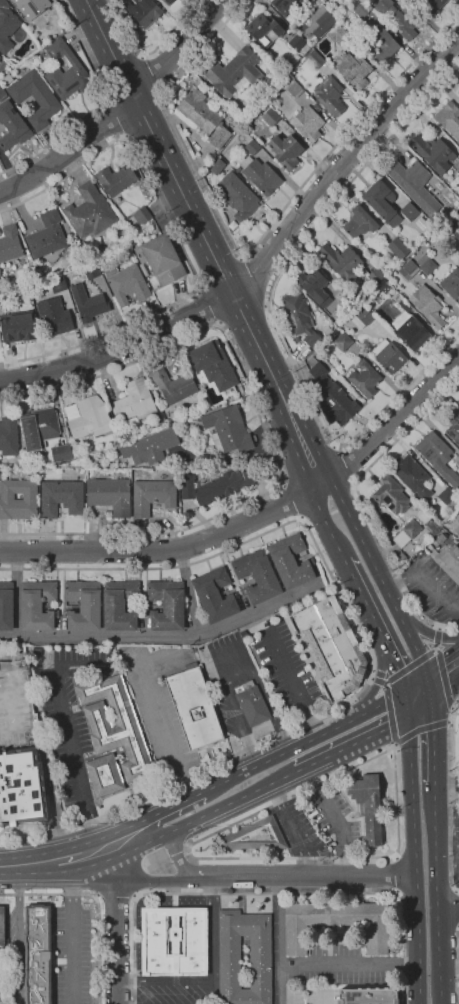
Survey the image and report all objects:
building: (169, 1)
building: (282, 5)
building: (432, 5)
building: (32, 7)
building: (362, 9)
building: (143, 11)
building: (401, 19)
building: (324, 22)
building: (7, 26)
building: (264, 30)
building: (341, 36)
building: (296, 42)
building: (383, 44)
road: (149, 52)
building: (0, 57)
building: (314, 59)
building: (354, 68)
building: (66, 71)
building: (235, 72)
road: (152, 76)
building: (295, 89)
building: (458, 92)
building: (2, 93)
building: (330, 95)
building: (35, 98)
road: (98, 106)
road: (124, 108)
building: (233, 115)
building: (271, 116)
building: (204, 117)
building: (449, 118)
road: (109, 122)
building: (308, 124)
building: (12, 126)
building: (458, 142)
building: (252, 146)
building: (285, 150)
building: (433, 153)
building: (217, 167)
building: (237, 170)
building: (261, 175)
building: (115, 179)
building: (414, 184)
building: (238, 195)
building: (382, 202)
building: (458, 209)
building: (89, 211)
building: (409, 211)
building: (142, 215)
building: (455, 217)
building: (360, 222)
building: (422, 222)
building: (457, 226)
building: (48, 239)
road: (179, 242)
road: (205, 242)
building: (10, 243)
building: (398, 248)
road: (248, 252)
building: (98, 253)
building: (160, 259)
building: (342, 261)
building: (426, 264)
road: (265, 267)
building: (409, 268)
building: (0, 271)
building: (91, 271)
building: (375, 275)
building: (1, 283)
building: (127, 283)
building: (58, 284)
building: (452, 284)
building: (314, 286)
building: (342, 288)
building: (401, 302)
building: (88, 303)
building: (427, 304)
road: (207, 305)
road: (270, 311)
building: (54, 316)
building: (300, 317)
building: (362, 317)
building: (18, 326)
building: (412, 333)
building: (343, 341)
building: (388, 356)
building: (213, 364)
building: (365, 378)
building: (174, 385)
building: (332, 394)
building: (133, 401)
building: (90, 417)
building: (160, 421)
building: (191, 421)
road: (391, 422)
building: (454, 426)
building: (38, 427)
building: (228, 429)
road: (263, 429)
building: (8, 435)
building: (149, 446)
building: (61, 453)
building: (438, 456)
road: (238, 461)
road: (344, 463)
building: (458, 469)
building: (15, 470)
building: (414, 478)
building: (215, 486)
building: (110, 494)
building: (153, 495)
building: (391, 495)
building: (446, 495)
building: (18, 496)
building: (61, 498)
building: (416, 498)
road: (289, 501)
road: (362, 502)
building: (108, 512)
building: (457, 512)
road: (325, 523)
building: (407, 532)
building: (441, 537)
road: (167, 550)
building: (449, 560)
building: (291, 561)
building: (257, 576)
road: (380, 580)
road: (190, 591)
road: (17, 593)
building: (215, 594)
road: (362, 598)
building: (166, 604)
building: (6, 605)
building: (37, 605)
building: (83, 605)
building: (120, 605)
road: (440, 627)
road: (428, 632)
road: (165, 635)
road: (364, 641)
building: (332, 646)
road: (393, 663)
road: (410, 665)
road: (440, 667)
road: (442, 672)
road: (235, 676)
road: (371, 677)
road: (376, 681)
road: (290, 682)
traffic signals: (426, 685)
road: (414, 687)
traffic signals: (402, 690)
building: (251, 703)
road: (378, 705)
building: (15, 706)
parking garage: (15, 706)
road: (387, 706)
building: (194, 708)
road: (452, 710)
traffic signals: (407, 718)
road: (448, 722)
building: (114, 729)
road: (419, 729)
road: (66, 731)
road: (368, 735)
road: (433, 735)
road: (163, 737)
road: (394, 744)
road: (277, 755)
building: (104, 775)
road: (446, 786)
building: (21, 787)
road: (452, 795)
road: (52, 797)
building: (368, 805)
road: (147, 817)
road: (197, 817)
road: (244, 817)
building: (255, 835)
road: (413, 846)
road: (73, 853)
road: (25, 861)
road: (182, 861)
road: (392, 875)
road: (313, 876)
road: (148, 880)
road: (268, 893)
road: (436, 895)
road: (115, 897)
road: (97, 902)
road: (448, 908)
road: (72, 923)
building: (335, 923)
road: (117, 924)
building: (2, 930)
road: (211, 930)
building: (174, 941)
building: (37, 954)
building: (229, 962)
road: (331, 964)
road: (458, 966)
road: (174, 983)
building: (368, 996)

